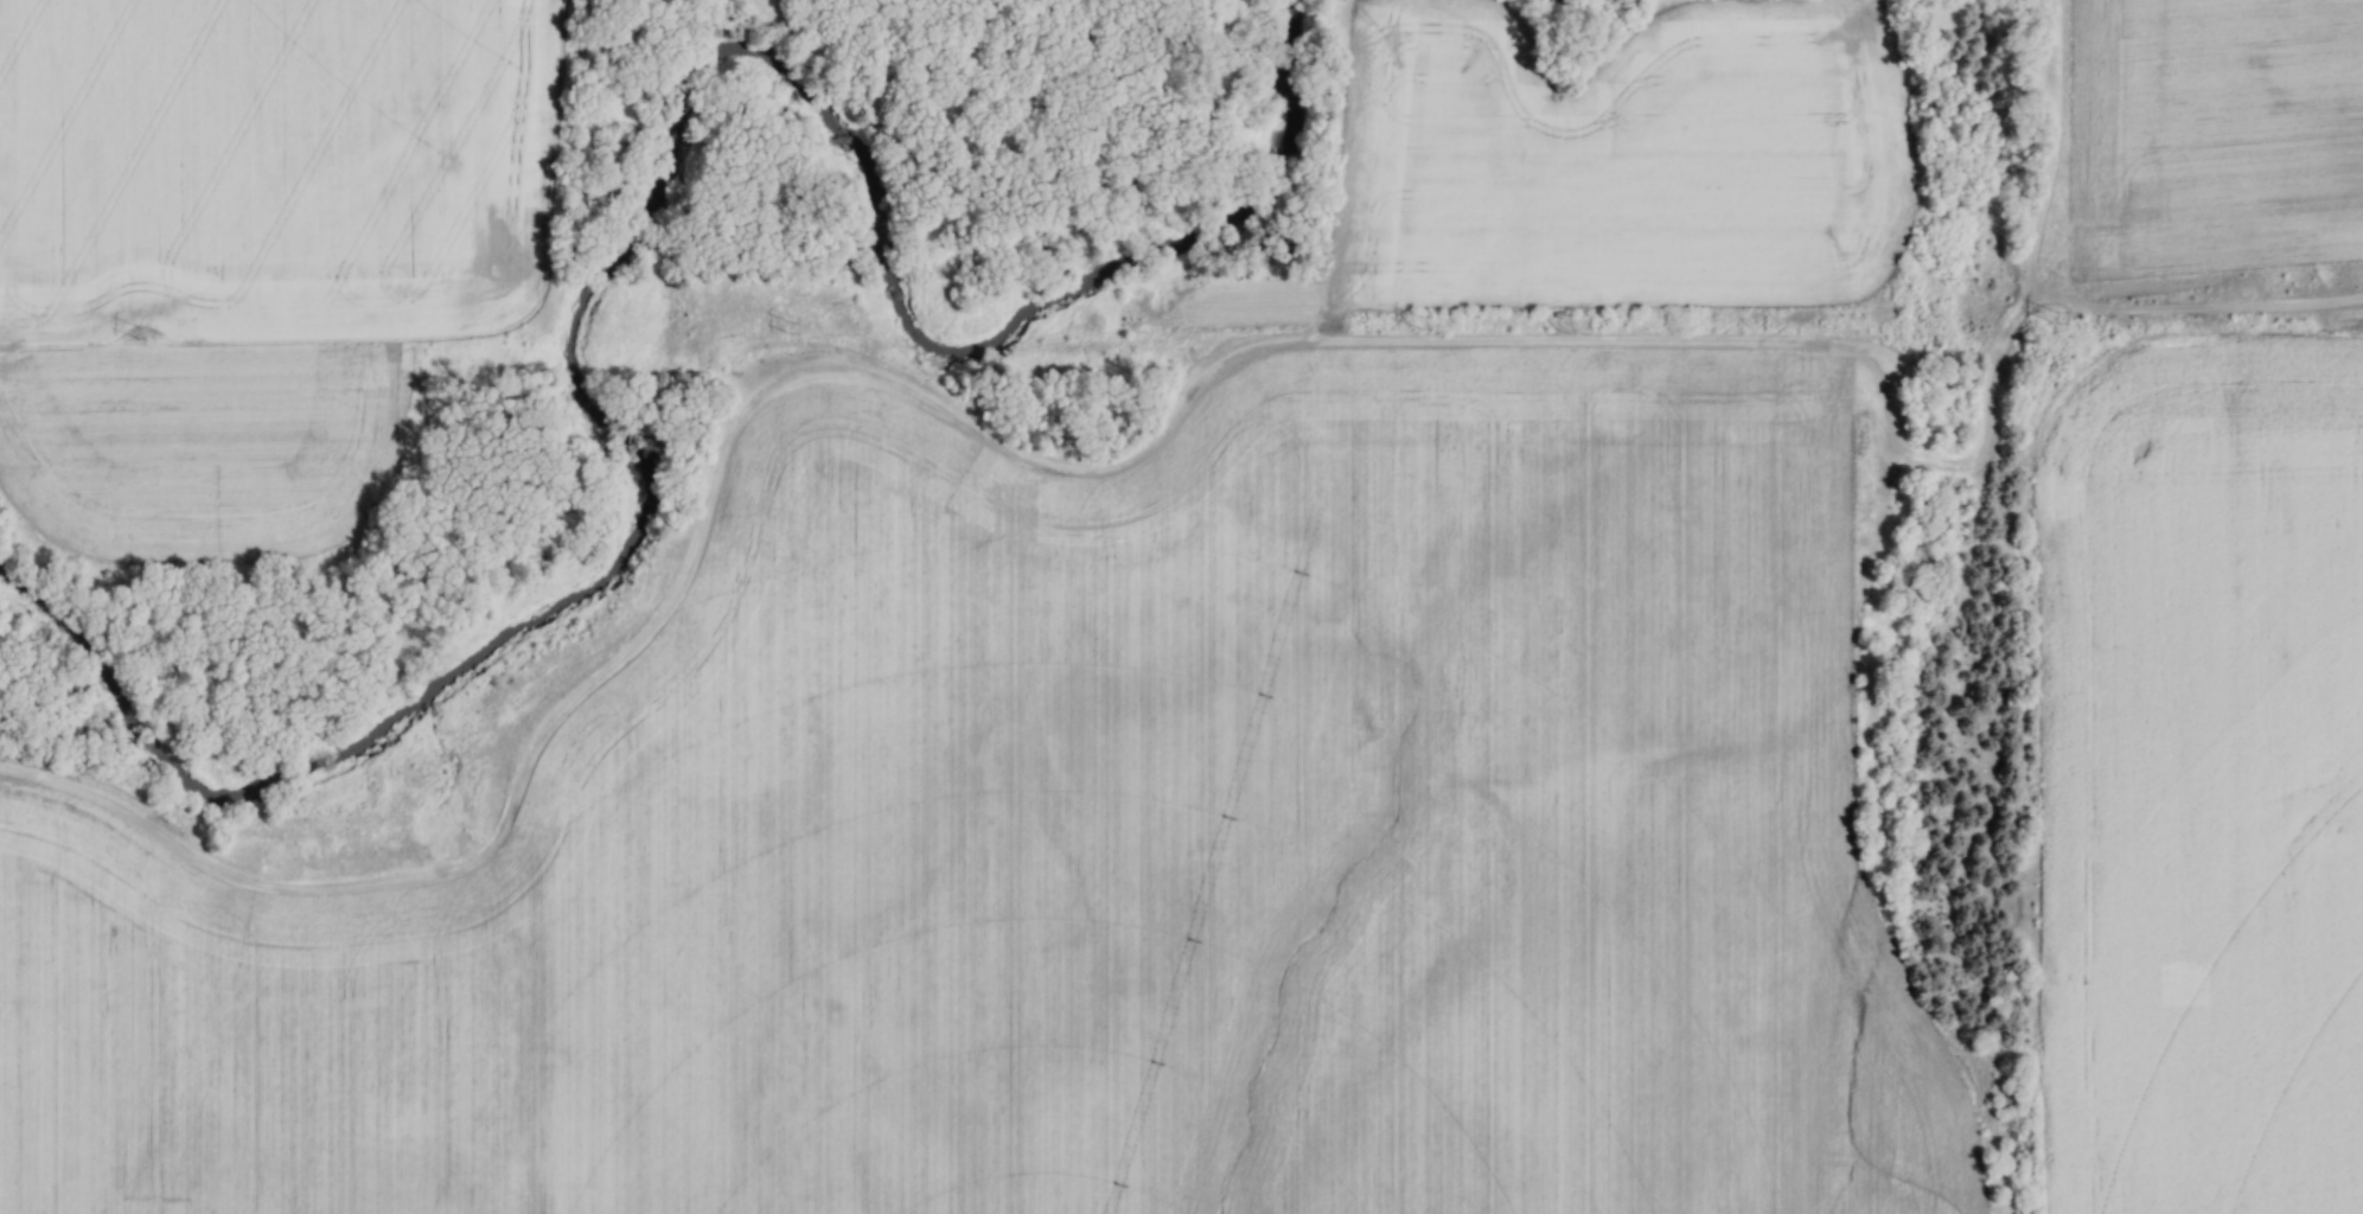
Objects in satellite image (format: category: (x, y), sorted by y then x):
power tower: (2054, 318)
power tower: (1420, 324)
power tower: (788, 330)
power tower: (140, 333)

